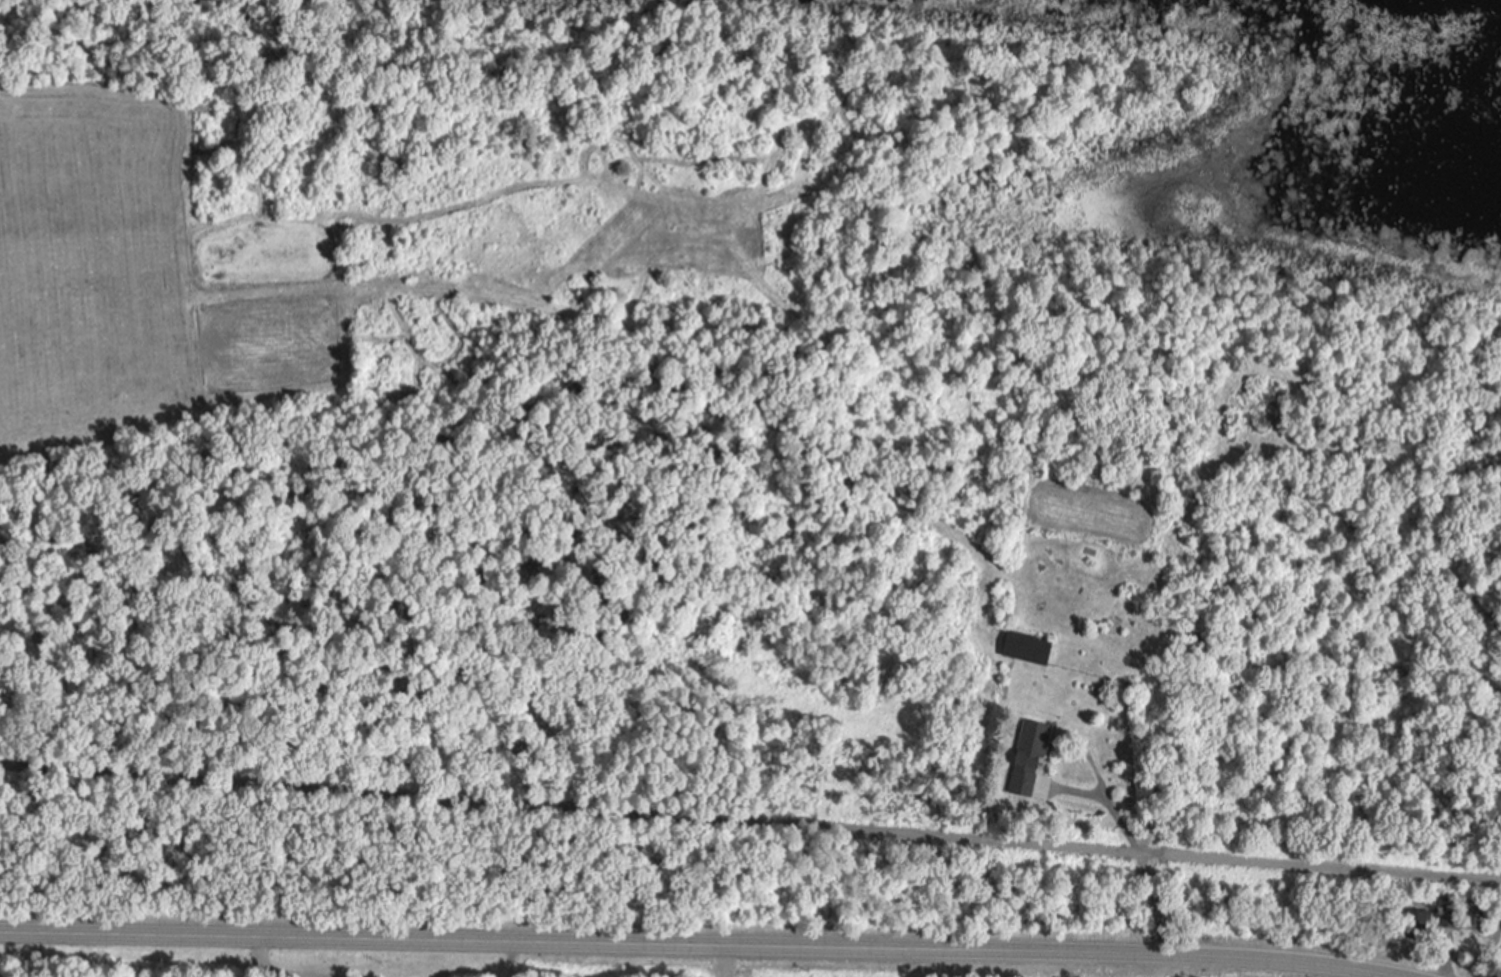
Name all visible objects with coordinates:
building: (1031, 649)
building: (1032, 758)
road: (1081, 791)
road: (750, 825)
road: (1139, 854)
road: (693, 947)
road: (1491, 947)

